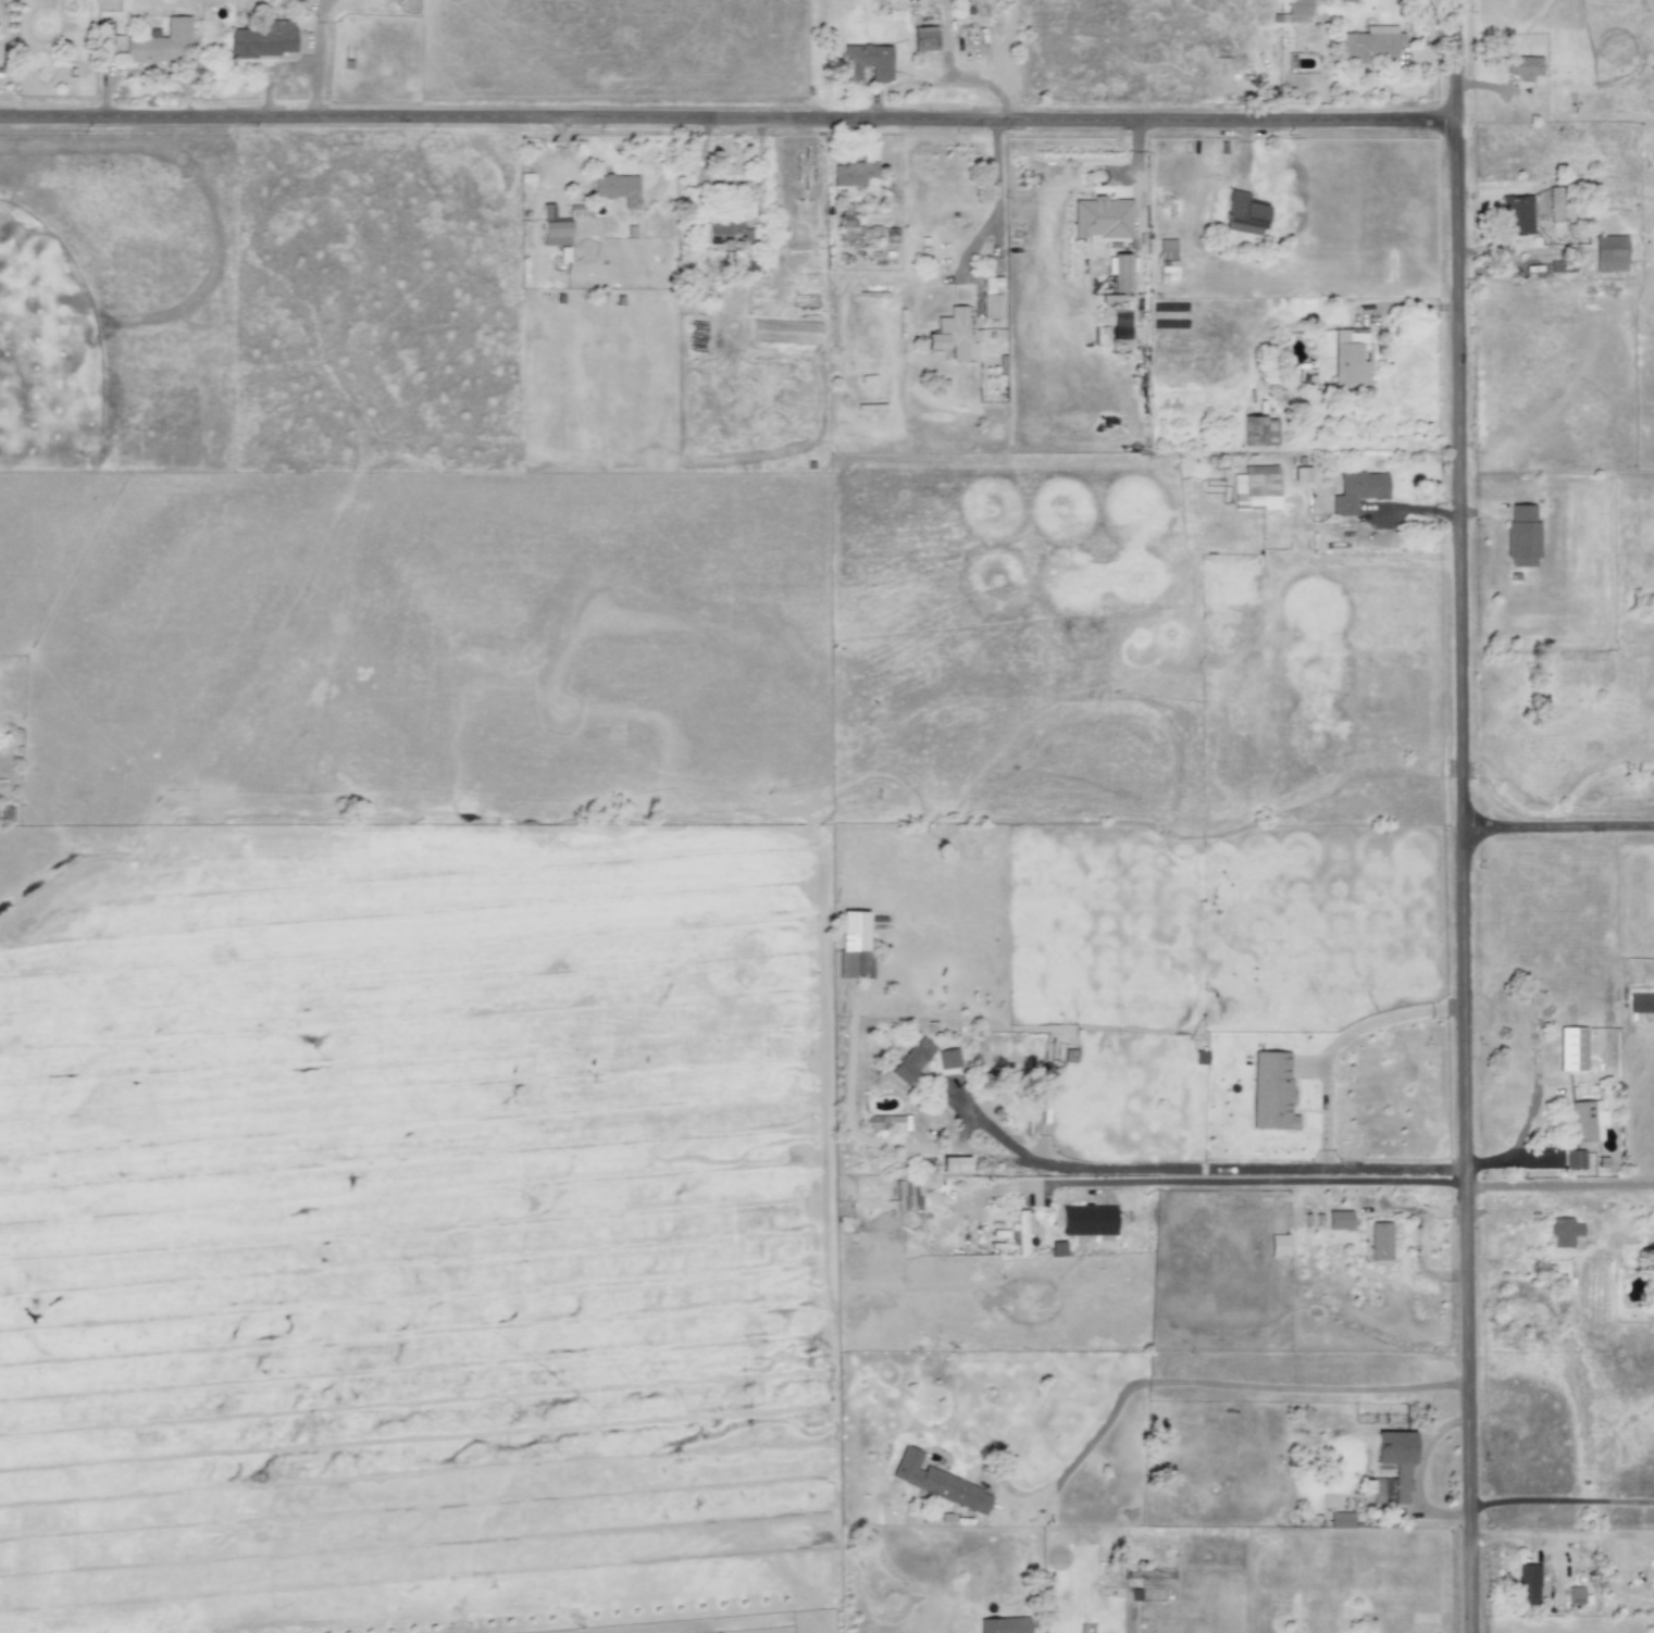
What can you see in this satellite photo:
building: (1298, 8)
building: (923, 38)
building: (263, 39)
building: (161, 42)
building: (1371, 43)
building: (867, 62)
building: (1524, 67)
road: (937, 79)
road: (731, 130)
building: (617, 187)
road: (997, 201)
building: (1557, 204)
building: (1243, 213)
building: (1515, 214)
building: (1100, 219)
building: (855, 226)
building: (554, 227)
building: (727, 234)
building: (1609, 253)
building: (1167, 261)
building: (1560, 266)
building: (1119, 271)
building: (871, 290)
building: (992, 298)
building: (786, 332)
building: (952, 335)
building: (1350, 358)
building: (1306, 374)
building: (1259, 431)
building: (1301, 474)
building: (1255, 488)
building: (1357, 490)
building: (1521, 535)
road: (1468, 816)
road: (1560, 834)
building: (855, 963)
building: (1641, 1002)
road: (1341, 1038)
building: (1571, 1049)
building: (947, 1058)
building: (910, 1060)
building: (1271, 1090)
building: (1585, 1120)
building: (887, 1123)
building: (1574, 1159)
building: (954, 1163)
road: (1157, 1165)
road: (1562, 1185)
building: (904, 1195)
crop: (446, 1216)
building: (1041, 1217)
building: (1339, 1220)
building: (1021, 1230)
building: (1564, 1232)
building: (1379, 1241)
building: (1278, 1245)
building: (1056, 1248)
road: (1220, 1383)
building: (1400, 1471)
building: (937, 1482)
road: (1564, 1498)
building: (1341, 1519)
building: (1527, 1583)
building: (1577, 1595)
building: (1003, 1624)

